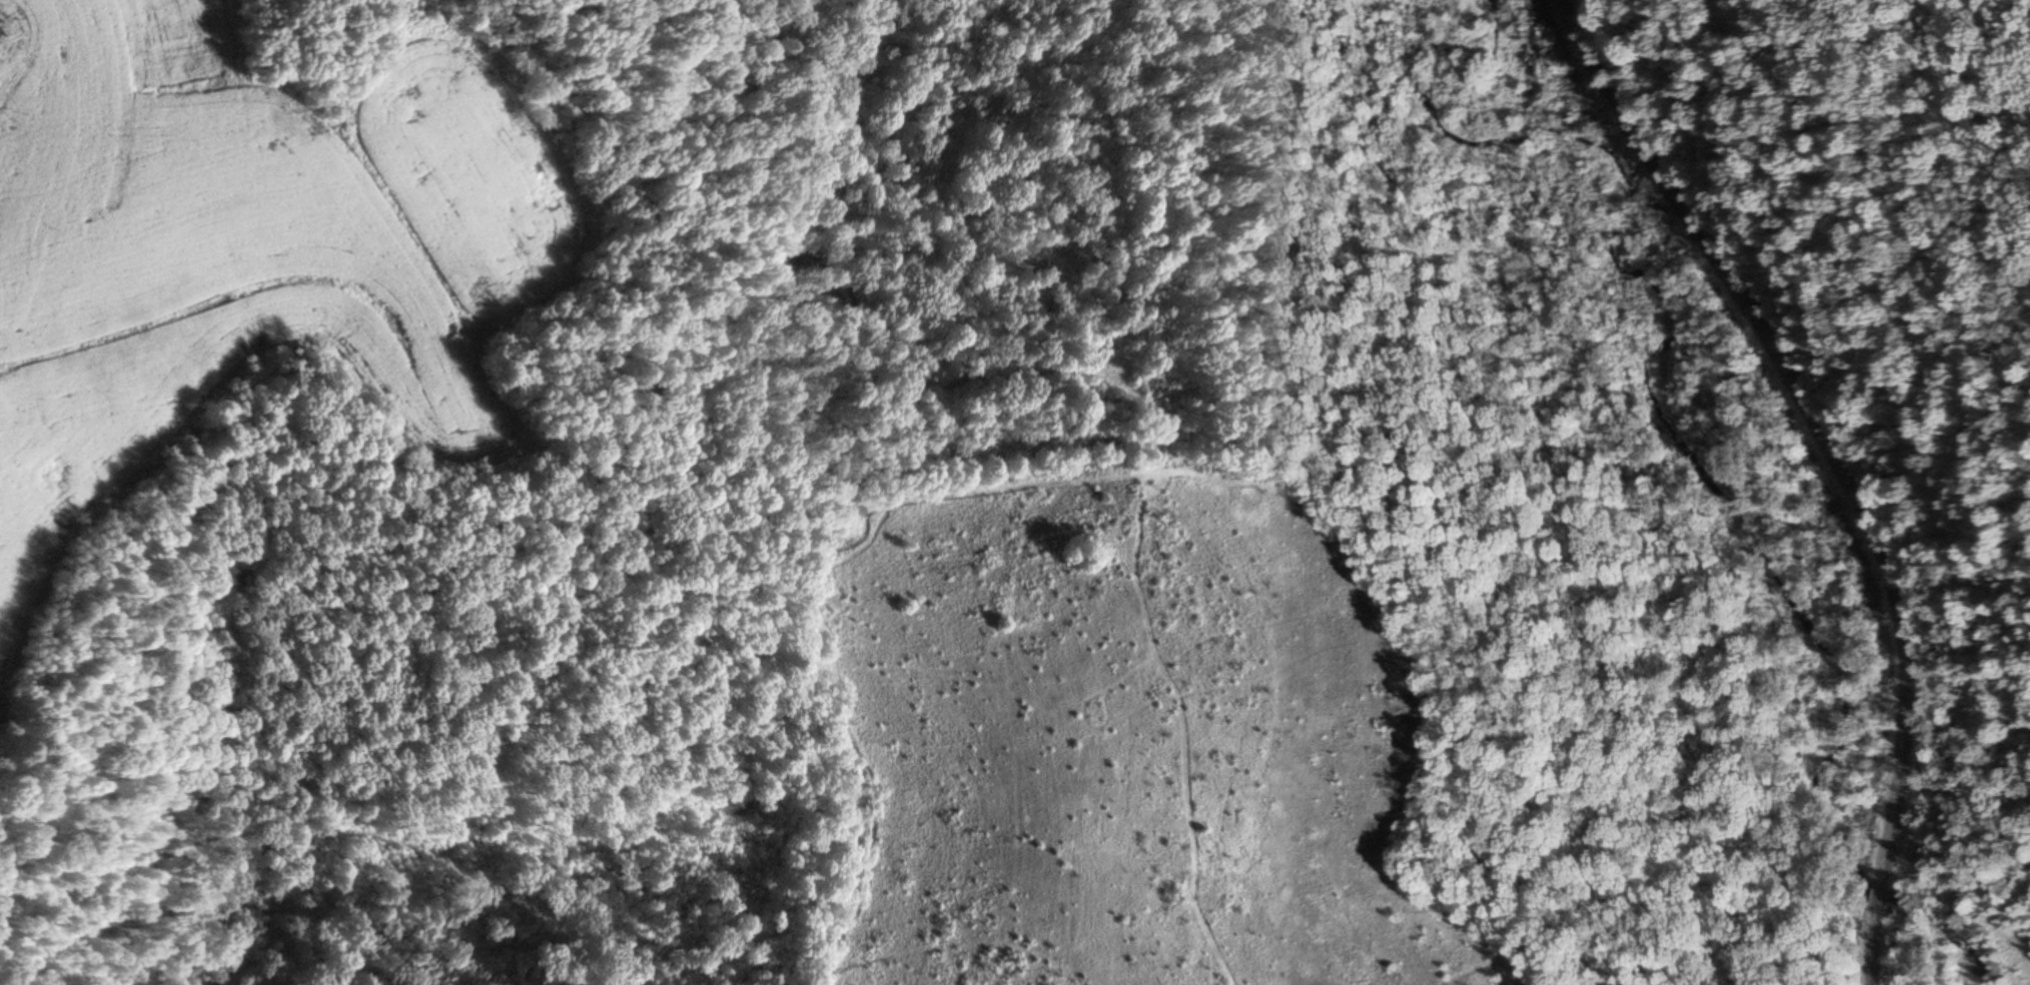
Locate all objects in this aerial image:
road: (1840, 461)

